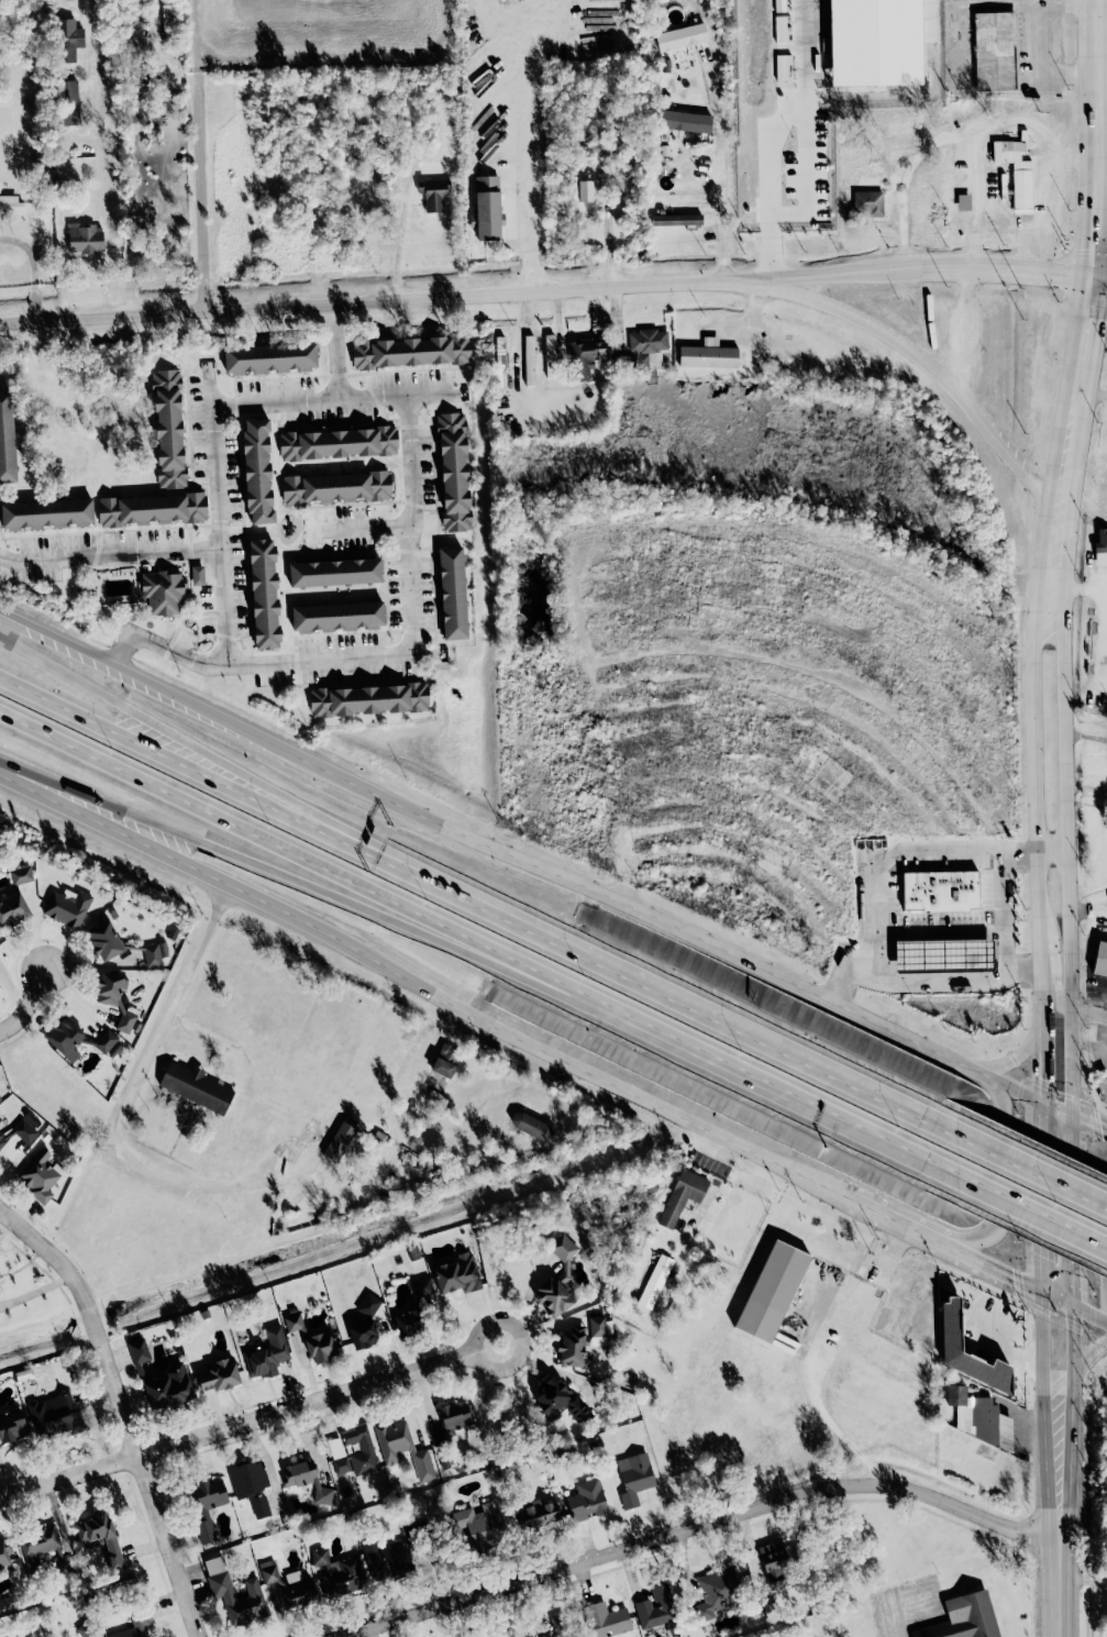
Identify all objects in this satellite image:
building: (680, 36)
building: (67, 38)
building: (995, 51)
building: (70, 102)
building: (685, 121)
road: (808, 125)
road: (988, 137)
road: (1095, 139)
road: (536, 143)
road: (719, 168)
building: (1015, 172)
building: (585, 188)
road: (771, 190)
building: (432, 192)
building: (867, 201)
building: (963, 201)
building: (10, 204)
building: (487, 207)
road: (109, 212)
road: (1048, 218)
building: (676, 219)
road: (1003, 230)
building: (85, 237)
road: (397, 250)
road: (33, 269)
traffic signals: (1094, 278)
road: (1100, 278)
road: (546, 289)
building: (646, 345)
building: (500, 347)
road: (336, 350)
building: (410, 351)
building: (585, 354)
building: (707, 354)
building: (269, 357)
building: (553, 357)
building: (529, 360)
road: (929, 362)
road: (331, 398)
road: (1076, 399)
building: (168, 428)
building: (7, 439)
building: (337, 443)
building: (257, 471)
building: (453, 471)
building: (335, 486)
building: (150, 508)
building: (46, 512)
road: (217, 517)
road: (368, 528)
building: (1102, 546)
road: (109, 550)
road: (1053, 557)
building: (334, 572)
building: (197, 574)
building: (452, 591)
road: (1077, 591)
building: (162, 593)
building: (263, 593)
building: (337, 616)
road: (384, 655)
road: (1099, 687)
building: (368, 699)
road: (180, 740)
road: (180, 762)
road: (937, 849)
road: (1033, 853)
road: (257, 862)
road: (534, 862)
building: (21, 875)
building: (940, 889)
road: (464, 898)
road: (395, 899)
building: (12, 909)
road: (934, 932)
road: (1037, 940)
building: (104, 941)
road: (1067, 947)
building: (154, 953)
building: (943, 954)
gas station: (943, 954)
road: (1056, 956)
building: (1100, 960)
road: (418, 980)
road: (927, 980)
building: (110, 989)
building: (0, 991)
road: (27, 1004)
road: (1088, 1015)
building: (126, 1019)
building: (64, 1037)
road: (756, 1039)
building: (107, 1042)
road: (1088, 1044)
building: (445, 1061)
building: (196, 1086)
traffic signals: (1038, 1099)
traffic signals: (1071, 1110)
building: (0, 1119)
road: (1088, 1119)
road: (860, 1124)
building: (531, 1126)
building: (19, 1131)
building: (301, 1141)
building: (339, 1141)
road: (1027, 1169)
building: (40, 1174)
road: (181, 1180)
building: (682, 1195)
road: (1018, 1201)
road: (986, 1236)
road: (951, 1248)
road: (63, 1267)
building: (457, 1274)
building: (557, 1280)
building: (656, 1281)
traffic signals: (1039, 1290)
building: (772, 1291)
traffic signals: (1072, 1302)
building: (368, 1304)
building: (416, 1308)
road: (1089, 1309)
building: (294, 1323)
building: (950, 1324)
building: (597, 1330)
building: (363, 1335)
road: (475, 1341)
building: (320, 1347)
building: (573, 1347)
road: (997, 1348)
building: (267, 1353)
building: (139, 1356)
building: (219, 1374)
building: (169, 1386)
building: (955, 1395)
building: (557, 1401)
building: (55, 1415)
building: (452, 1423)
building: (988, 1424)
road: (237, 1425)
road: (831, 1425)
road: (1043, 1426)
building: (12, 1427)
road: (1072, 1431)
building: (403, 1448)
building: (353, 1451)
building: (634, 1478)
building: (306, 1479)
building: (251, 1485)
road: (146, 1490)
building: (586, 1500)
building: (207, 1504)
building: (536, 1515)
building: (477, 1525)
road: (705, 1525)
building: (101, 1538)
building: (42, 1550)
building: (4, 1551)
building: (390, 1557)
building: (775, 1564)
building: (268, 1571)
building: (340, 1571)
road: (1084, 1580)
building: (220, 1586)
building: (297, 1590)
building: (717, 1592)
road: (1061, 1599)
building: (656, 1607)
building: (963, 1617)
building: (607, 1619)
road: (895, 1623)
building: (134, 1626)
building: (558, 1626)
building: (87, 1629)
building: (509, 1634)

